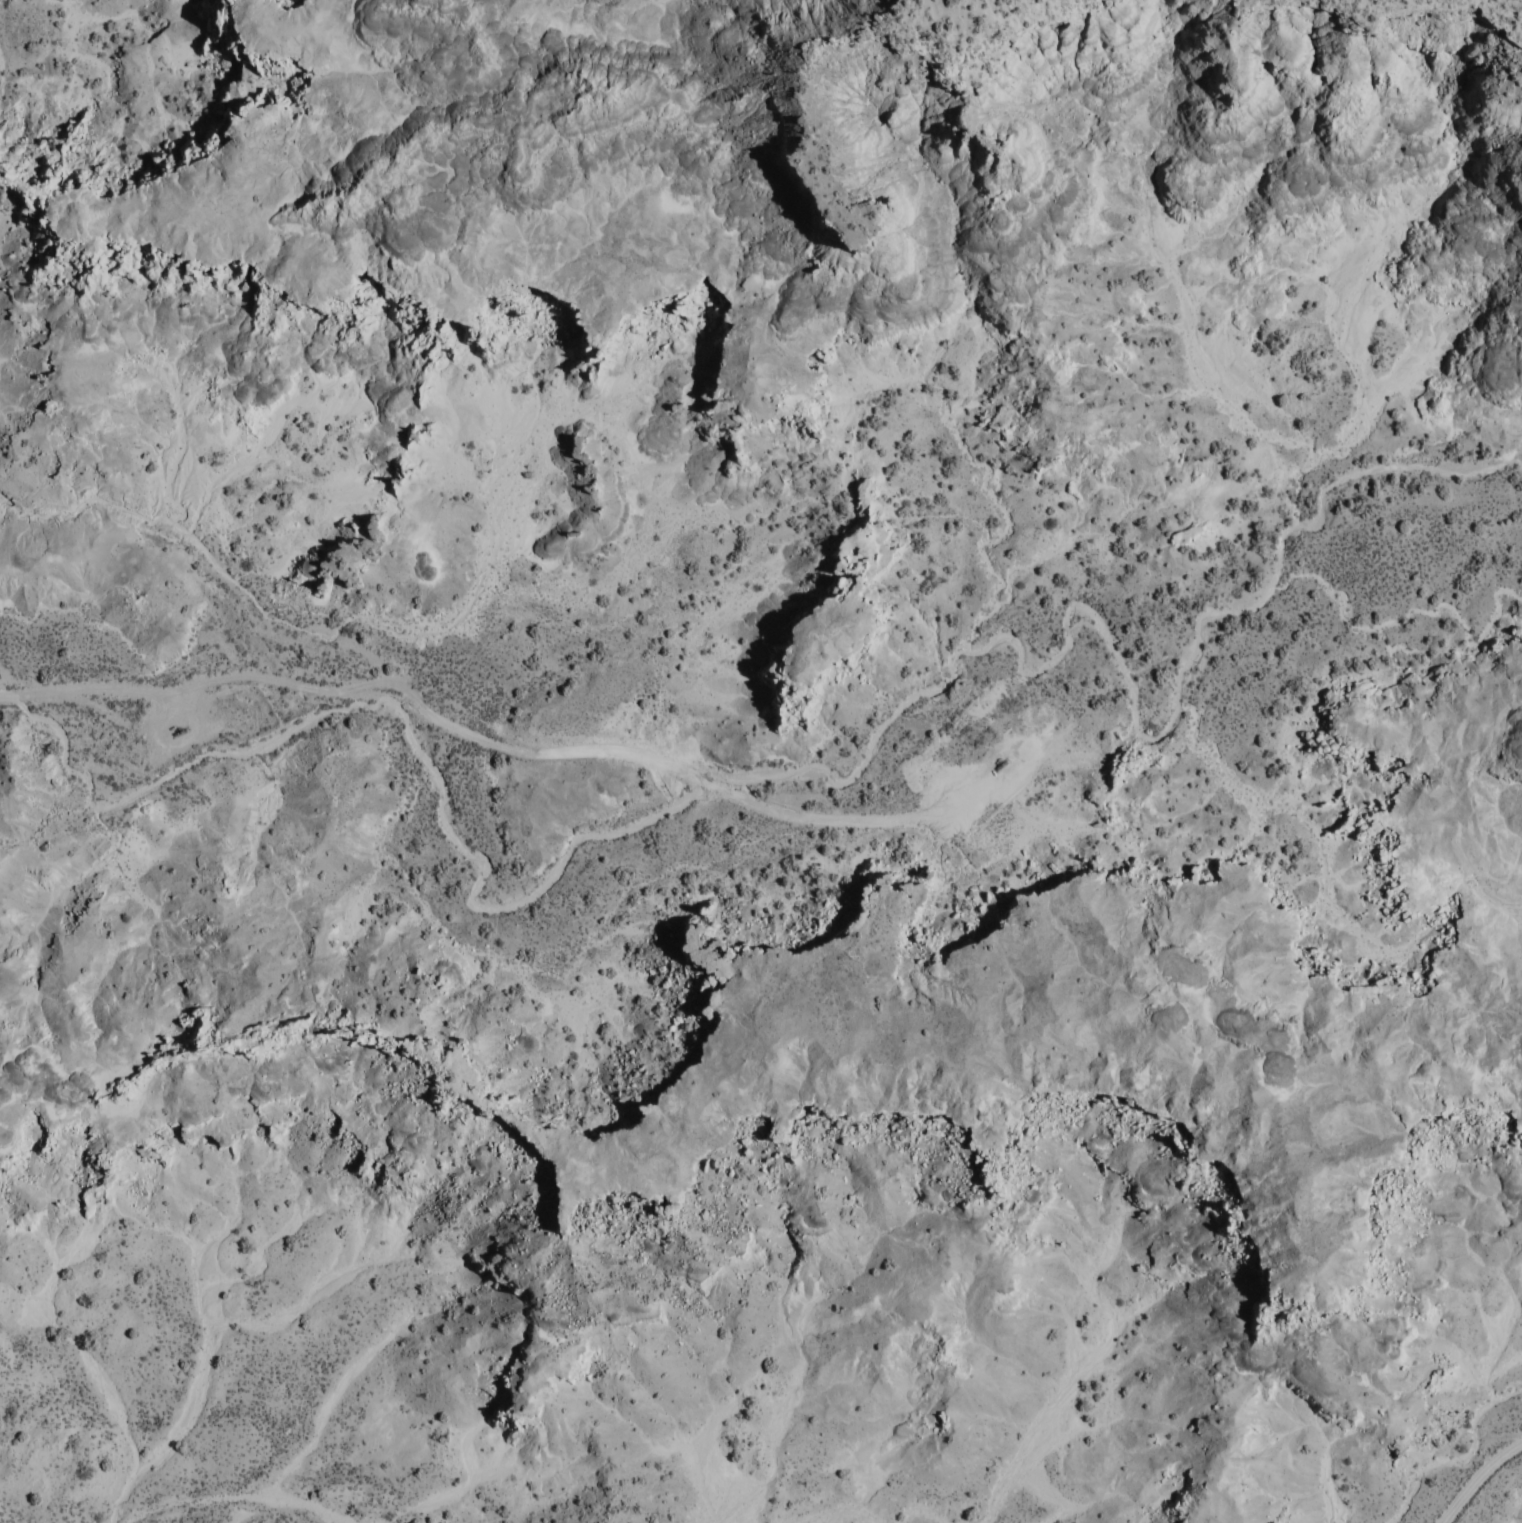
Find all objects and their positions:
road: (1477, 1488)

